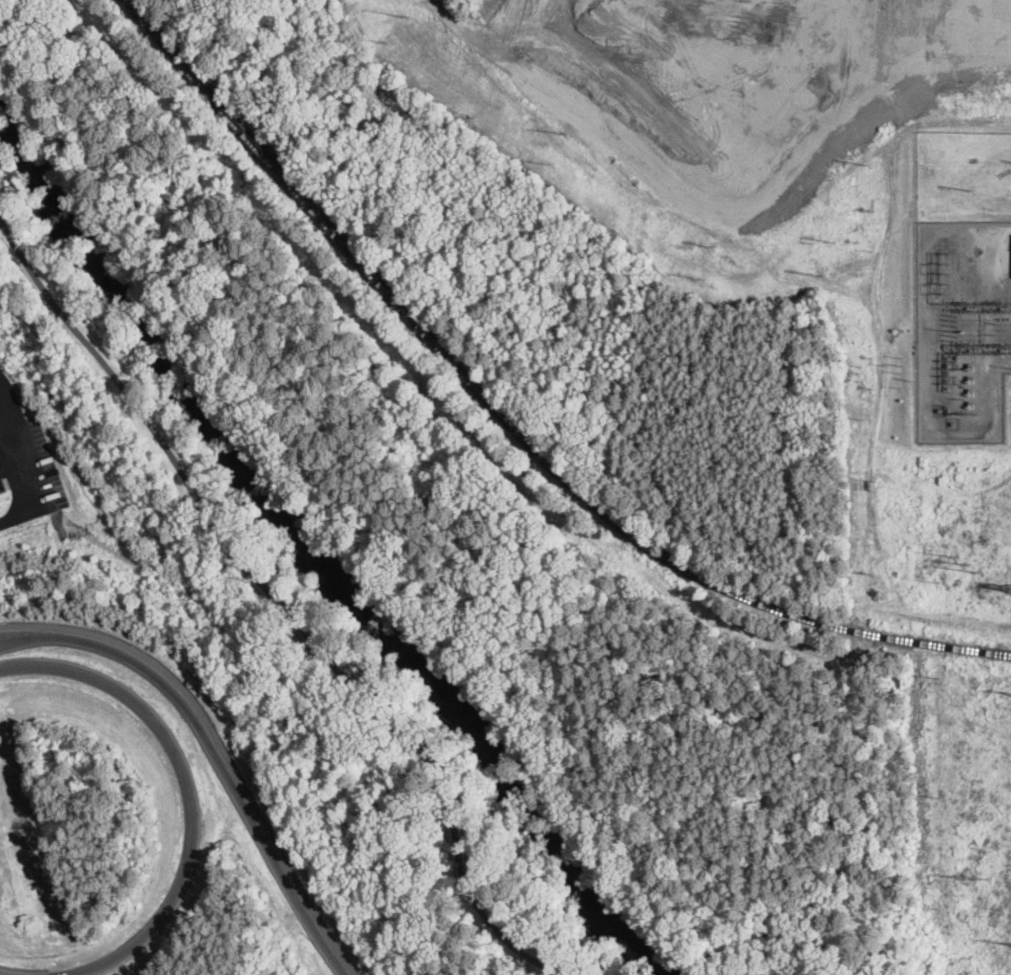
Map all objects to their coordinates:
landfill: (627, 203)
power substation: (962, 328)
power tower: (1005, 349)
park: (307, 429)
road: (20, 442)
power tower: (966, 563)
road: (275, 601)
road: (211, 750)
road: (187, 789)
park: (507, 859)
power tower: (975, 876)

